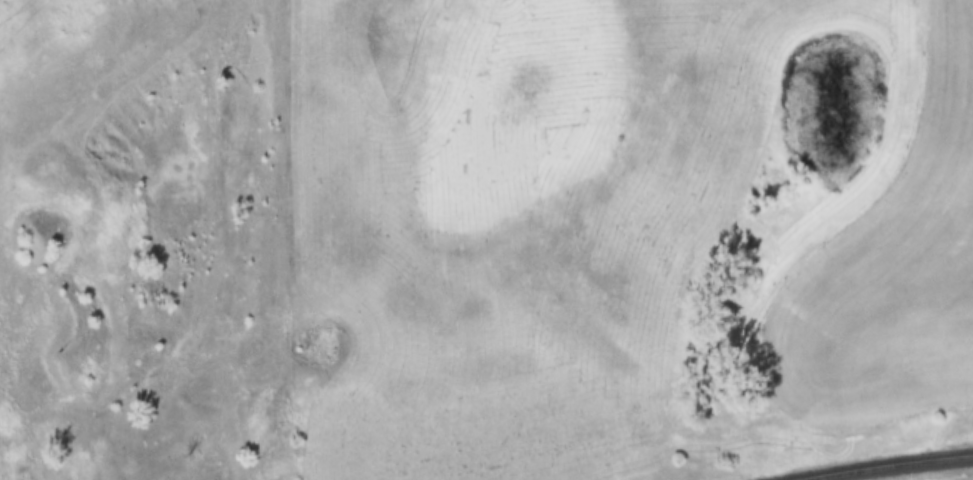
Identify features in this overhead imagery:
road: (326, 286)
road: (26, 420)
railway: (889, 465)

